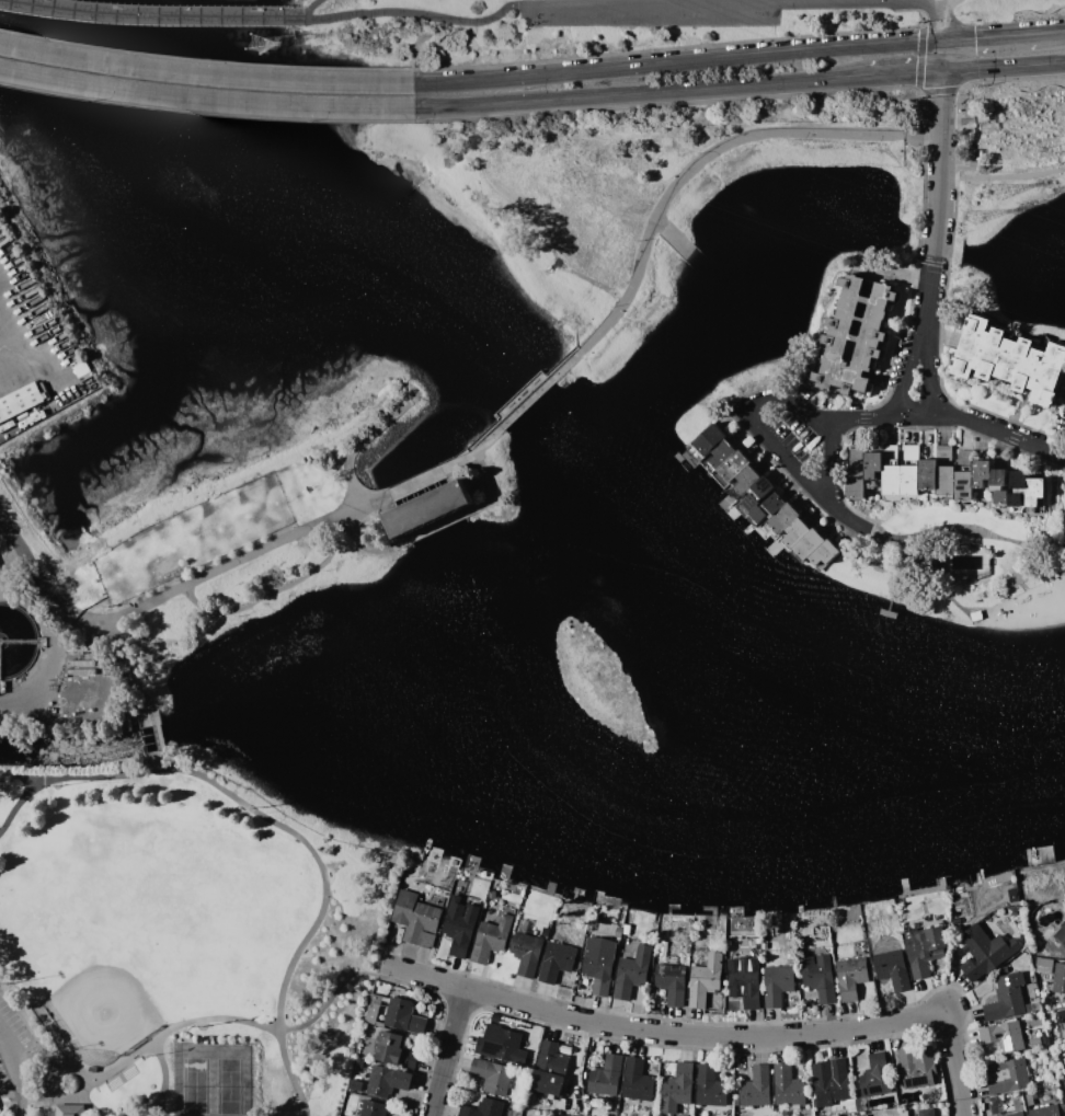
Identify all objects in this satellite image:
road: (943, 3)
road: (664, 5)
road: (310, 7)
road: (424, 14)
road: (151, 15)
road: (941, 16)
road: (1052, 33)
road: (990, 37)
power tower: (254, 44)
road: (672, 48)
road: (204, 60)
road: (678, 62)
road: (1003, 65)
road: (903, 72)
road: (206, 77)
road: (917, 79)
road: (966, 83)
road: (641, 92)
road: (206, 99)
road: (687, 103)
road: (205, 113)
power tower: (1052, 150)
road: (695, 163)
road: (906, 168)
road: (1003, 175)
road: (940, 191)
power tower: (994, 193)
power tower: (969, 217)
road: (676, 238)
power tower: (958, 294)
road: (911, 296)
building: (852, 334)
road: (939, 341)
road: (33, 359)
building: (1009, 360)
road: (904, 373)
road: (930, 376)
dam: (528, 396)
road: (528, 396)
building: (19, 401)
park: (399, 405)
building: (33, 412)
building: (15, 419)
road: (747, 421)
road: (980, 429)
road: (1054, 437)
building: (707, 439)
road: (356, 445)
road: (824, 451)
building: (911, 452)
building: (942, 452)
building: (721, 453)
building: (889, 455)
building: (856, 458)
building: (872, 465)
building: (733, 467)
road: (436, 471)
building: (927, 474)
building: (980, 478)
building: (996, 478)
road: (485, 480)
building: (745, 480)
building: (890, 480)
building: (908, 480)
building: (1017, 480)
building: (944, 481)
building: (855, 483)
building: (761, 486)
building: (962, 486)
building: (1031, 491)
building: (1000, 499)
building: (749, 503)
building: (774, 503)
building: (1014, 503)
building: (433, 507)
building: (757, 515)
building: (778, 521)
road: (435, 527)
building: (794, 532)
building: (1064, 534)
road: (358, 540)
building: (806, 544)
building: (823, 554)
road: (11, 560)
road: (275, 588)
road: (158, 599)
street lamp: (173, 600)
road: (51, 646)
road: (133, 667)
road: (160, 730)
road: (164, 760)
road: (70, 778)
road: (322, 904)
park: (148, 905)
building: (414, 917)
building: (458, 927)
building: (626, 930)
building: (1061, 935)
building: (491, 937)
park: (183, 942)
building: (924, 948)
building: (984, 952)
building: (526, 953)
building: (556, 962)
building: (598, 964)
building: (1043, 965)
building: (892, 969)
building: (631, 973)
building: (818, 977)
building: (850, 977)
building: (1058, 978)
building: (705, 980)
building: (745, 982)
building: (671, 983)
building: (777, 985)
road: (332, 997)
building: (1006, 999)
park: (106, 1001)
building: (1061, 1016)
building: (402, 1017)
road: (711, 1036)
building: (1003, 1036)
road: (149, 1044)
building: (500, 1045)
building: (393, 1050)
road: (447, 1051)
building: (1064, 1065)
building: (916, 1066)
building: (557, 1068)
road: (13, 1071)
building: (492, 1075)
building: (606, 1077)
building: (1006, 1077)
building: (873, 1078)
road: (164, 1080)
park: (213, 1080)
building: (635, 1080)
building: (387, 1081)
building: (831, 1082)
building: (710, 1086)
building: (787, 1086)
building: (756, 1088)
building: (677, 1089)
road: (51, 1098)
road: (84, 1098)
building: (371, 1108)
building: (483, 1108)
building: (70, 1111)
building: (926, 1112)
building: (1044, 1112)
road: (157, 1114)
building: (1017, 1114)

